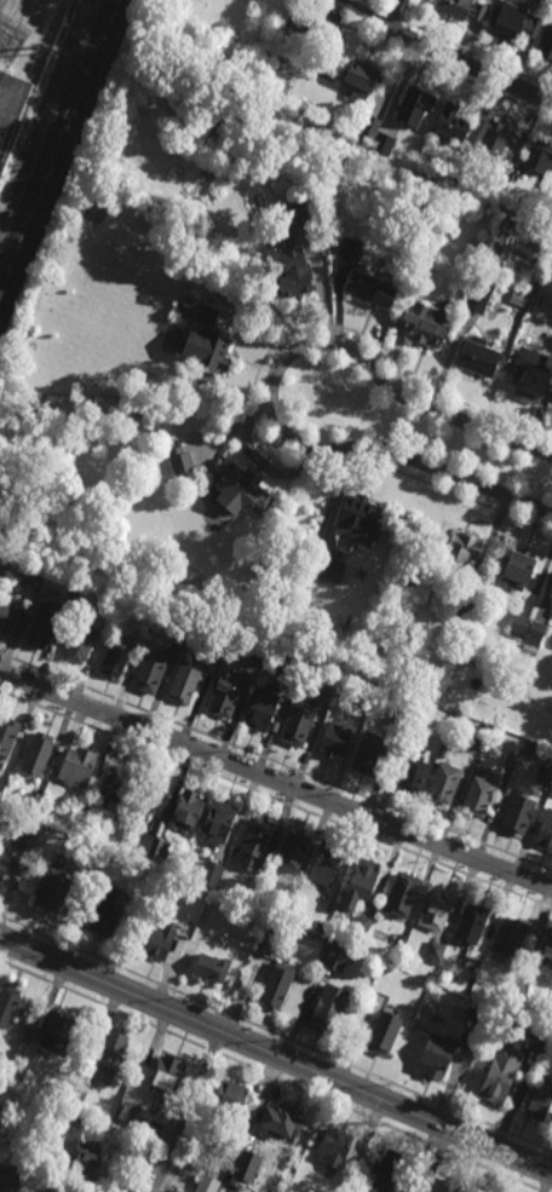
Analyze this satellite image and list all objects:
building: (461, 8)
building: (317, 21)
building: (514, 21)
building: (4, 31)
building: (546, 42)
power tower: (54, 59)
road: (458, 59)
building: (361, 79)
building: (414, 105)
building: (452, 121)
building: (368, 128)
building: (499, 137)
railway: (56, 139)
building: (383, 143)
railway: (61, 154)
building: (539, 156)
building: (337, 163)
building: (453, 168)
building: (499, 186)
building: (542, 202)
building: (502, 218)
building: (352, 248)
building: (293, 255)
building: (370, 289)
building: (481, 292)
building: (518, 299)
building: (188, 309)
building: (208, 316)
building: (421, 326)
building: (205, 352)
building: (477, 357)
building: (534, 378)
road: (253, 386)
road: (270, 386)
building: (180, 460)
building: (240, 486)
building: (357, 520)
building: (460, 549)
building: (1, 566)
building: (322, 566)
building: (518, 566)
building: (34, 572)
building: (551, 593)
building: (73, 597)
building: (462, 605)
building: (7, 616)
building: (22, 622)
building: (42, 623)
building: (519, 624)
building: (535, 630)
building: (180, 638)
building: (80, 644)
building: (259, 651)
building: (116, 656)
building: (195, 670)
building: (150, 672)
building: (292, 675)
building: (368, 687)
building: (327, 692)
building: (224, 695)
building: (261, 706)
building: (401, 715)
building: (297, 722)
building: (416, 726)
building: (479, 733)
building: (7, 735)
building: (334, 739)
building: (38, 752)
building: (370, 753)
building: (511, 756)
road: (276, 764)
building: (77, 765)
building: (545, 770)
building: (414, 772)
road: (276, 778)
building: (444, 782)
building: (115, 785)
building: (479, 794)
road: (276, 799)
building: (31, 802)
building: (189, 810)
building: (41, 813)
building: (87, 813)
building: (519, 813)
building: (219, 820)
building: (545, 830)
building: (23, 840)
building: (255, 842)
building: (155, 847)
building: (87, 848)
building: (293, 851)
building: (82, 859)
building: (4, 860)
building: (326, 864)
building: (212, 874)
building: (361, 882)
building: (254, 883)
building: (53, 892)
building: (291, 894)
building: (403, 894)
building: (436, 909)
building: (105, 914)
building: (195, 920)
building: (471, 923)
building: (362, 926)
building: (320, 927)
building: (510, 935)
building: (160, 943)
building: (266, 945)
building: (391, 950)
building: (435, 951)
building: (545, 955)
building: (337, 958)
building: (212, 968)
building: (277, 985)
building: (467, 1001)
building: (518, 1002)
road: (103, 1003)
building: (10, 1007)
building: (329, 1009)
building: (470, 1009)
building: (481, 1019)
building: (57, 1031)
building: (384, 1033)
road: (276, 1036)
building: (542, 1038)
road: (212, 1050)
building: (0, 1054)
road: (276, 1055)
building: (436, 1055)
building: (109, 1056)
building: (166, 1078)
building: (498, 1079)
building: (76, 1092)
building: (540, 1102)
building: (234, 1110)
road: (188, 1112)
building: (136, 1116)
building: (80, 1118)
building: (282, 1122)
road: (379, 1123)
building: (56, 1129)
building: (13, 1134)
building: (133, 1142)
building: (334, 1148)
building: (87, 1162)
building: (247, 1167)
building: (351, 1168)
building: (389, 1171)
building: (11, 1176)
building: (349, 1182)
building: (455, 1185)
building: (125, 1190)

